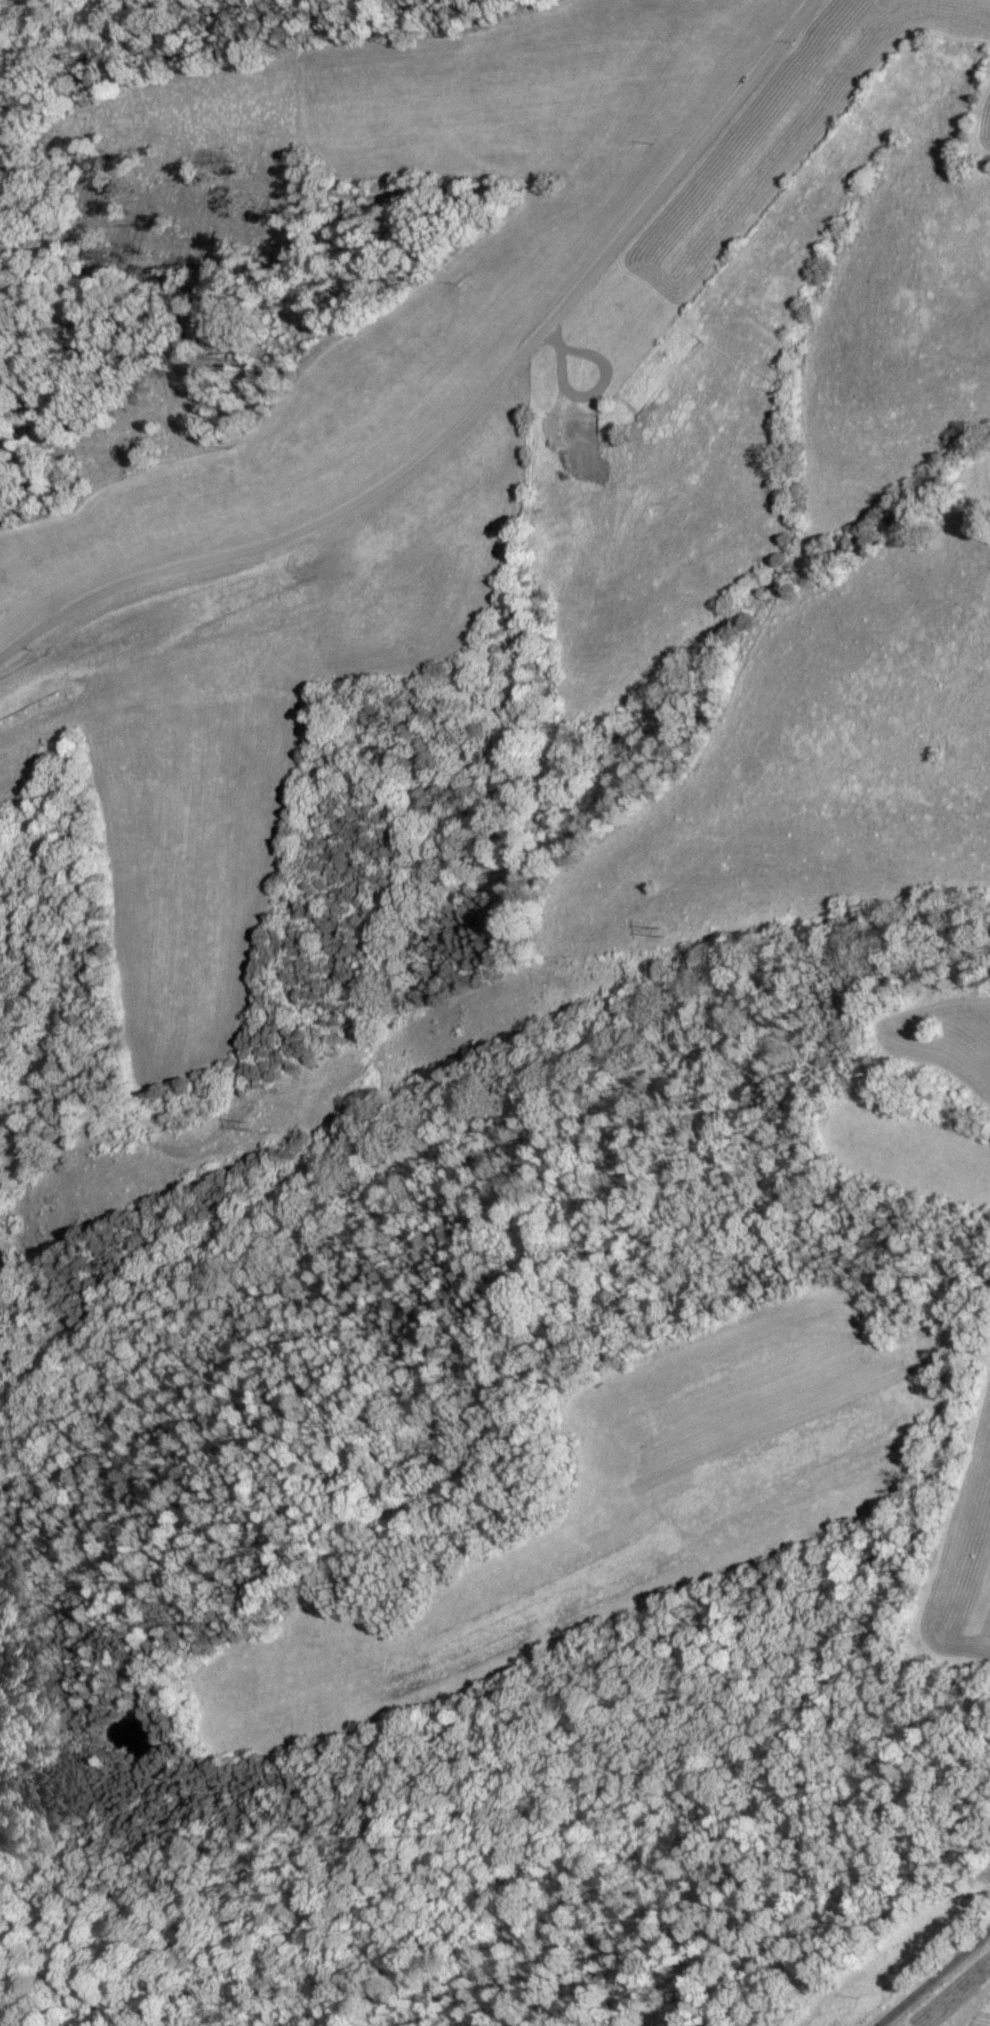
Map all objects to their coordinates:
road: (468, 409)
power tower: (658, 933)
power tower: (245, 1124)
road: (935, 1979)

